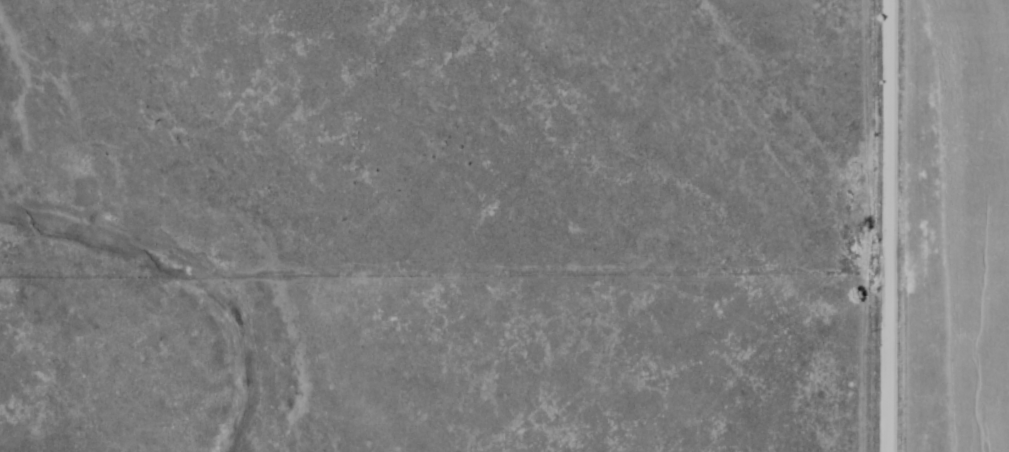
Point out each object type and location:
road: (898, 226)

